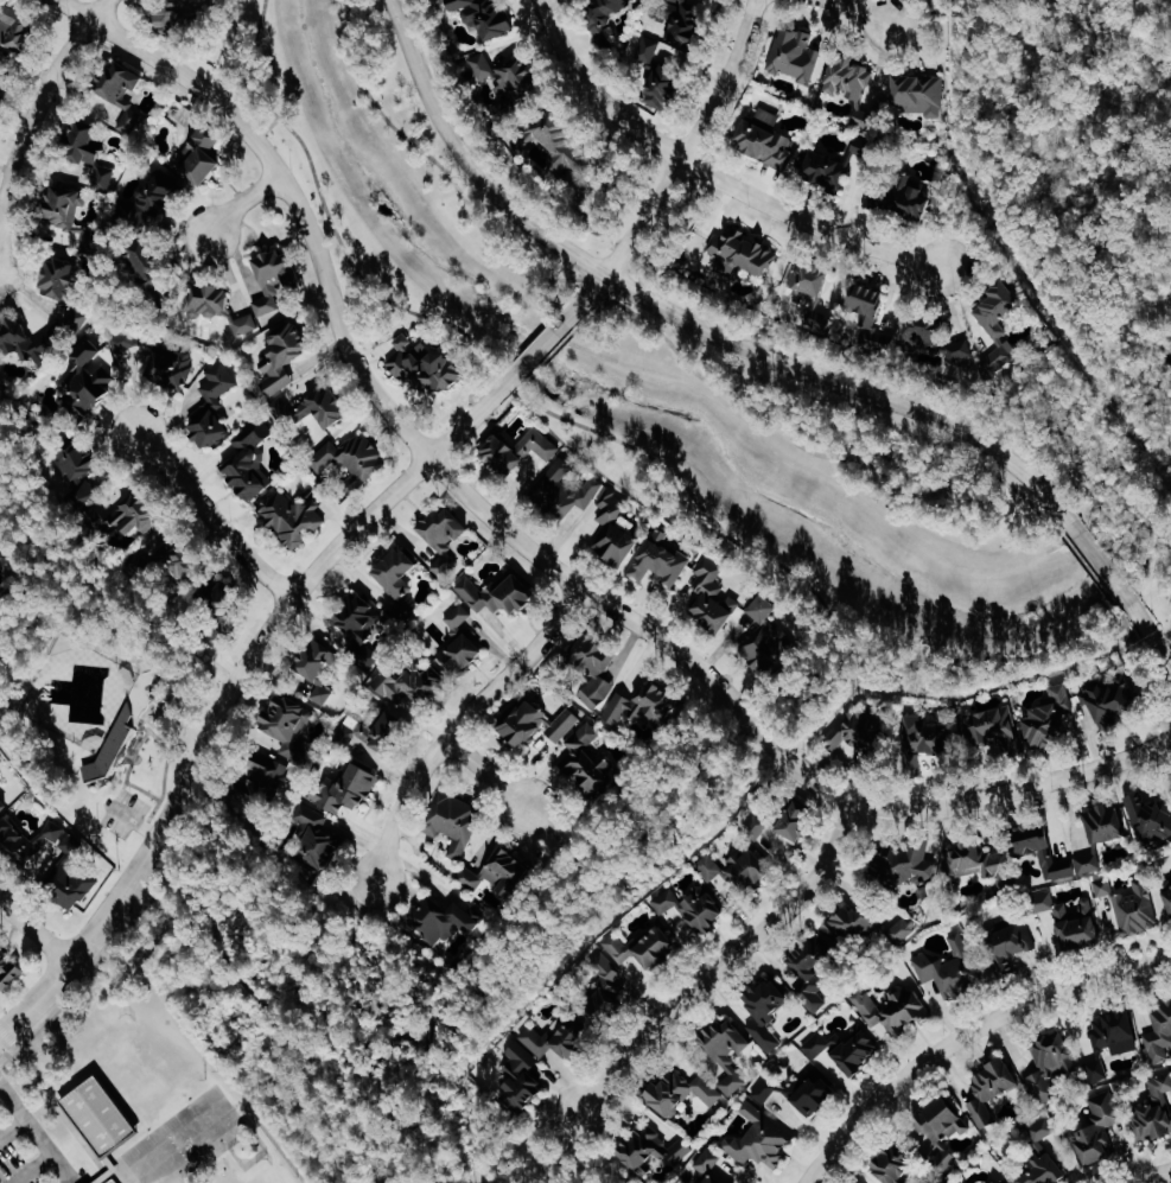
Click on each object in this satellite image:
road: (859, 12)
road: (924, 12)
building: (483, 14)
building: (176, 18)
building: (602, 18)
building: (686, 24)
building: (17, 31)
building: (790, 53)
building: (656, 74)
building: (503, 82)
building: (4, 84)
building: (123, 84)
building: (848, 84)
building: (917, 93)
road: (39, 109)
building: (133, 120)
building: (763, 136)
building: (558, 139)
road: (1006, 140)
building: (91, 152)
building: (202, 157)
building: (830, 161)
road: (437, 163)
park: (1076, 164)
road: (712, 172)
road: (675, 178)
building: (897, 201)
building: (158, 202)
road: (244, 204)
building: (65, 208)
road: (670, 228)
building: (739, 253)
road: (356, 269)
building: (153, 278)
building: (275, 279)
road: (594, 288)
building: (809, 288)
building: (208, 298)
building: (870, 310)
road: (590, 313)
building: (79, 320)
building: (997, 320)
road: (688, 323)
building: (247, 324)
building: (931, 332)
building: (28, 342)
road: (540, 349)
road: (554, 350)
building: (286, 356)
building: (157, 360)
building: (426, 365)
building: (93, 380)
building: (214, 405)
building: (324, 407)
building: (521, 452)
building: (350, 456)
road: (829, 456)
building: (252, 462)
building: (85, 470)
building: (568, 491)
road: (693, 497)
building: (139, 514)
road: (210, 516)
building: (293, 516)
building: (446, 528)
building: (616, 530)
road: (528, 547)
building: (183, 560)
building: (446, 564)
building: (662, 564)
road: (1100, 564)
road: (1088, 570)
building: (400, 580)
building: (501, 593)
building: (714, 596)
building: (222, 597)
building: (764, 609)
building: (462, 617)
road: (1121, 618)
building: (363, 629)
road: (1147, 631)
building: (769, 648)
building: (464, 654)
building: (320, 669)
building: (383, 679)
road: (237, 680)
building: (619, 687)
road: (167, 694)
building: (1112, 699)
building: (394, 710)
building: (1051, 718)
building: (288, 719)
road: (459, 724)
building: (539, 726)
building: (995, 730)
building: (859, 738)
building: (924, 738)
building: (112, 746)
road: (724, 755)
building: (1, 759)
building: (591, 761)
road: (126, 770)
road: (486, 774)
building: (269, 777)
building: (351, 793)
building: (2, 807)
parking lot: (122, 814)
building: (1151, 816)
road: (133, 821)
building: (785, 821)
building: (457, 822)
building: (1107, 822)
building: (317, 840)
building: (30, 842)
road: (562, 845)
building: (1052, 852)
building: (908, 863)
building: (980, 864)
building: (711, 866)
building: (750, 869)
building: (501, 871)
road: (193, 872)
building: (71, 883)
building: (1105, 886)
building: (1169, 892)
building: (1045, 901)
building: (694, 905)
building: (1137, 909)
building: (450, 921)
road: (32, 922)
building: (1080, 923)
building: (866, 924)
building: (1012, 945)
building: (645, 947)
road: (724, 962)
road: (95, 966)
road: (337, 967)
building: (8, 969)
building: (812, 974)
building: (950, 974)
building: (606, 986)
building: (896, 1007)
building: (769, 1010)
building: (1116, 1031)
building: (1159, 1031)
road: (966, 1036)
building: (561, 1037)
building: (815, 1042)
building: (855, 1050)
building: (728, 1051)
building: (1051, 1064)
building: (1097, 1069)
building: (522, 1076)
building: (765, 1089)
building: (992, 1089)
building: (685, 1090)
building: (816, 1094)
building: (1156, 1109)
building: (98, 1115)
road: (62, 1117)
road: (12, 1126)
building: (1099, 1128)
road: (256, 1131)
building: (938, 1131)
road: (36, 1133)
building: (762, 1138)
parking lot: (28, 1147)
road: (565, 1147)
building: (655, 1151)
building: (1043, 1156)
building: (898, 1164)
building: (709, 1166)
road: (30, 1168)
road: (108, 1170)
road: (1152, 1175)
building: (110, 1179)
road: (378, 1179)

